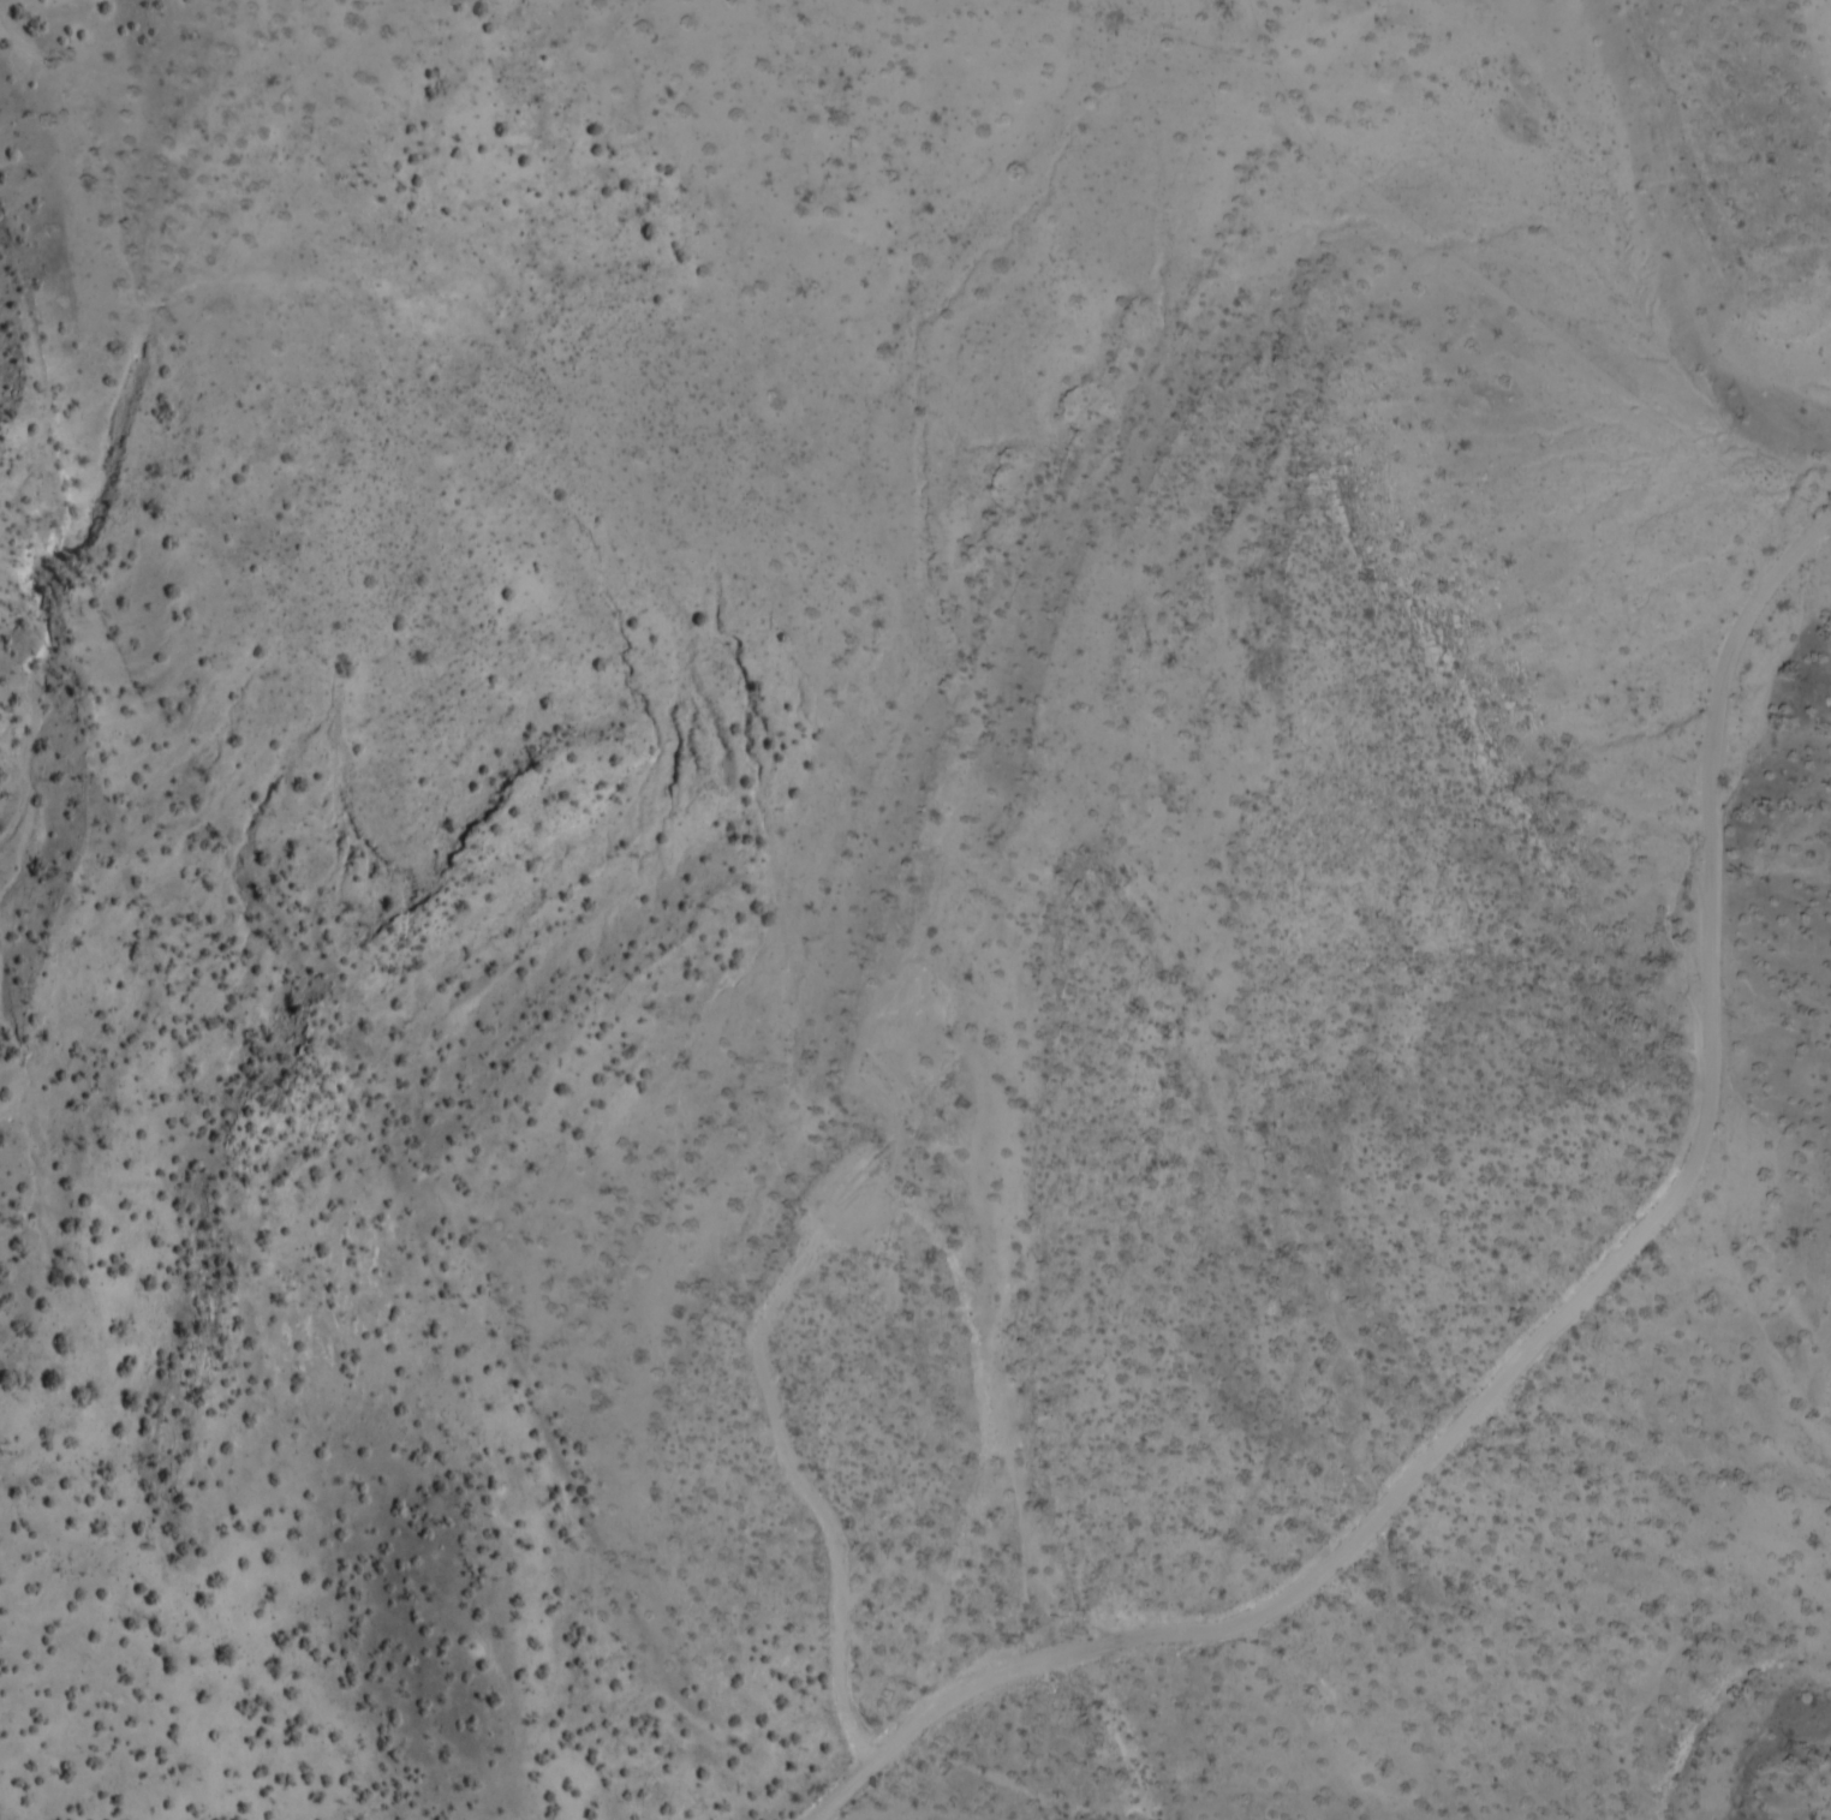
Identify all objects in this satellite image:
road: (1544, 1332)
road: (810, 1479)

